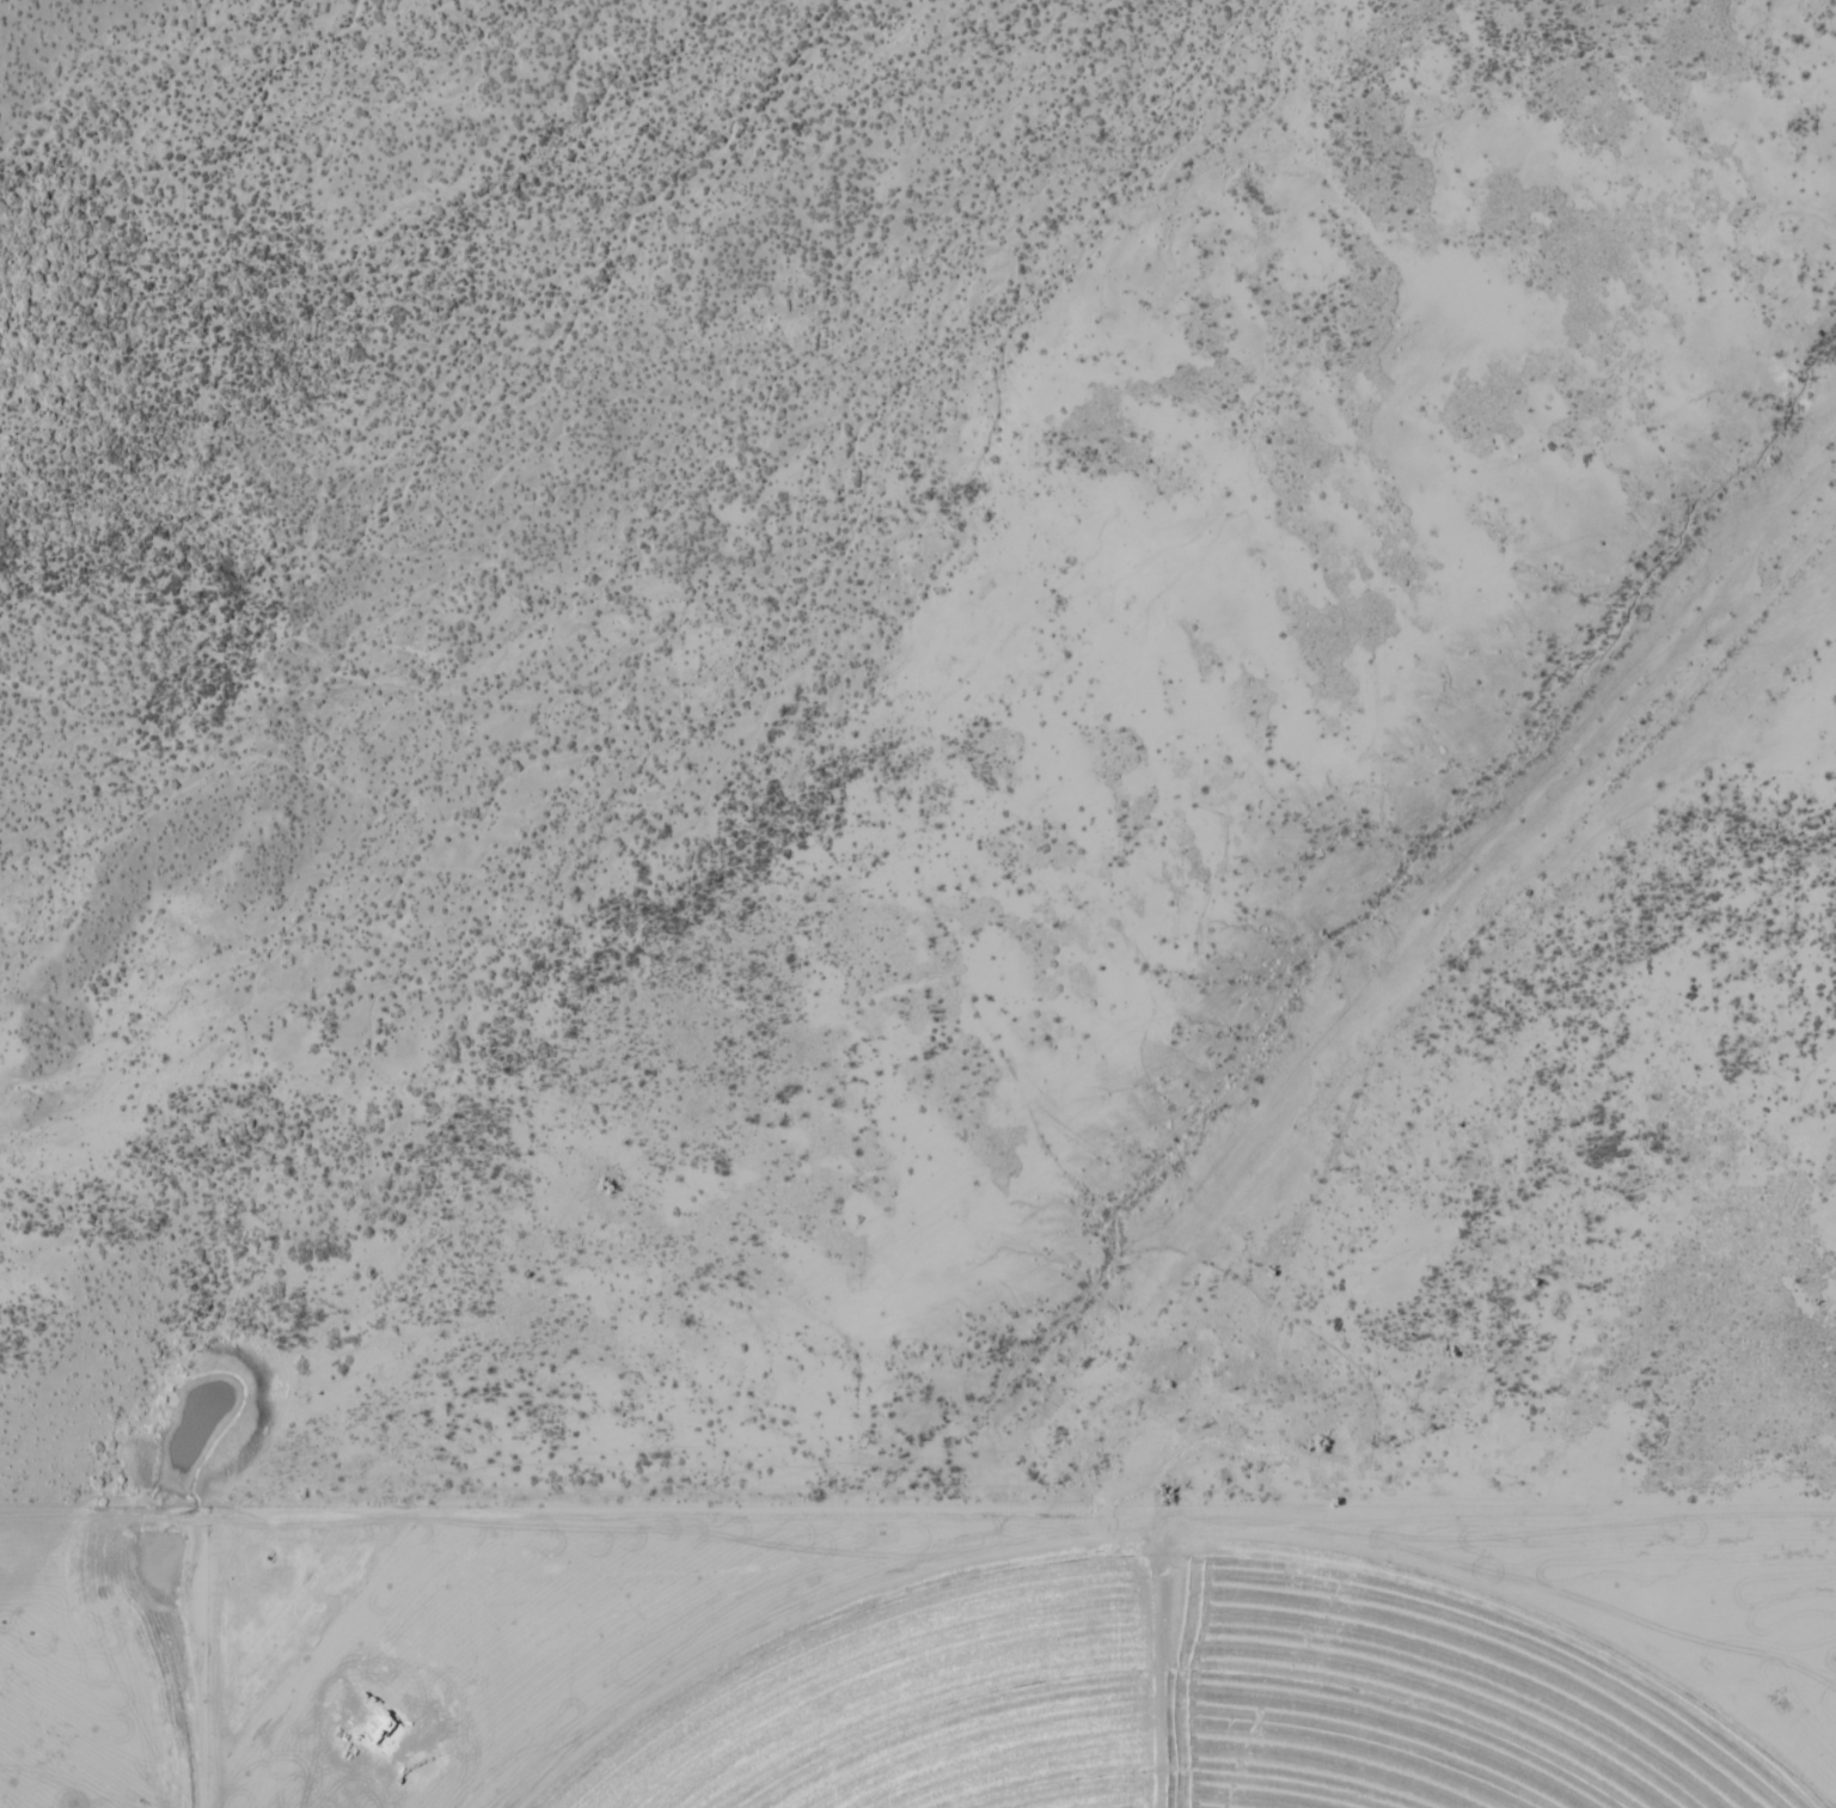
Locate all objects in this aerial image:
road: (1461, 873)
crop: (1188, 1697)

